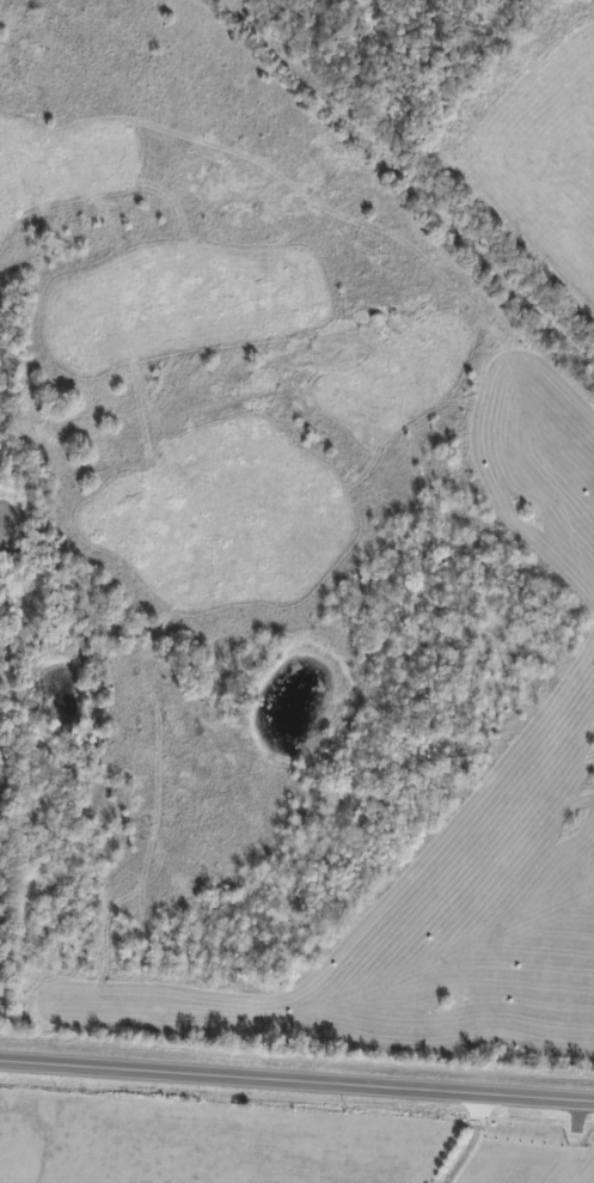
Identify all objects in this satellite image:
road: (416, 181)
road: (296, 1079)
road: (467, 1140)

